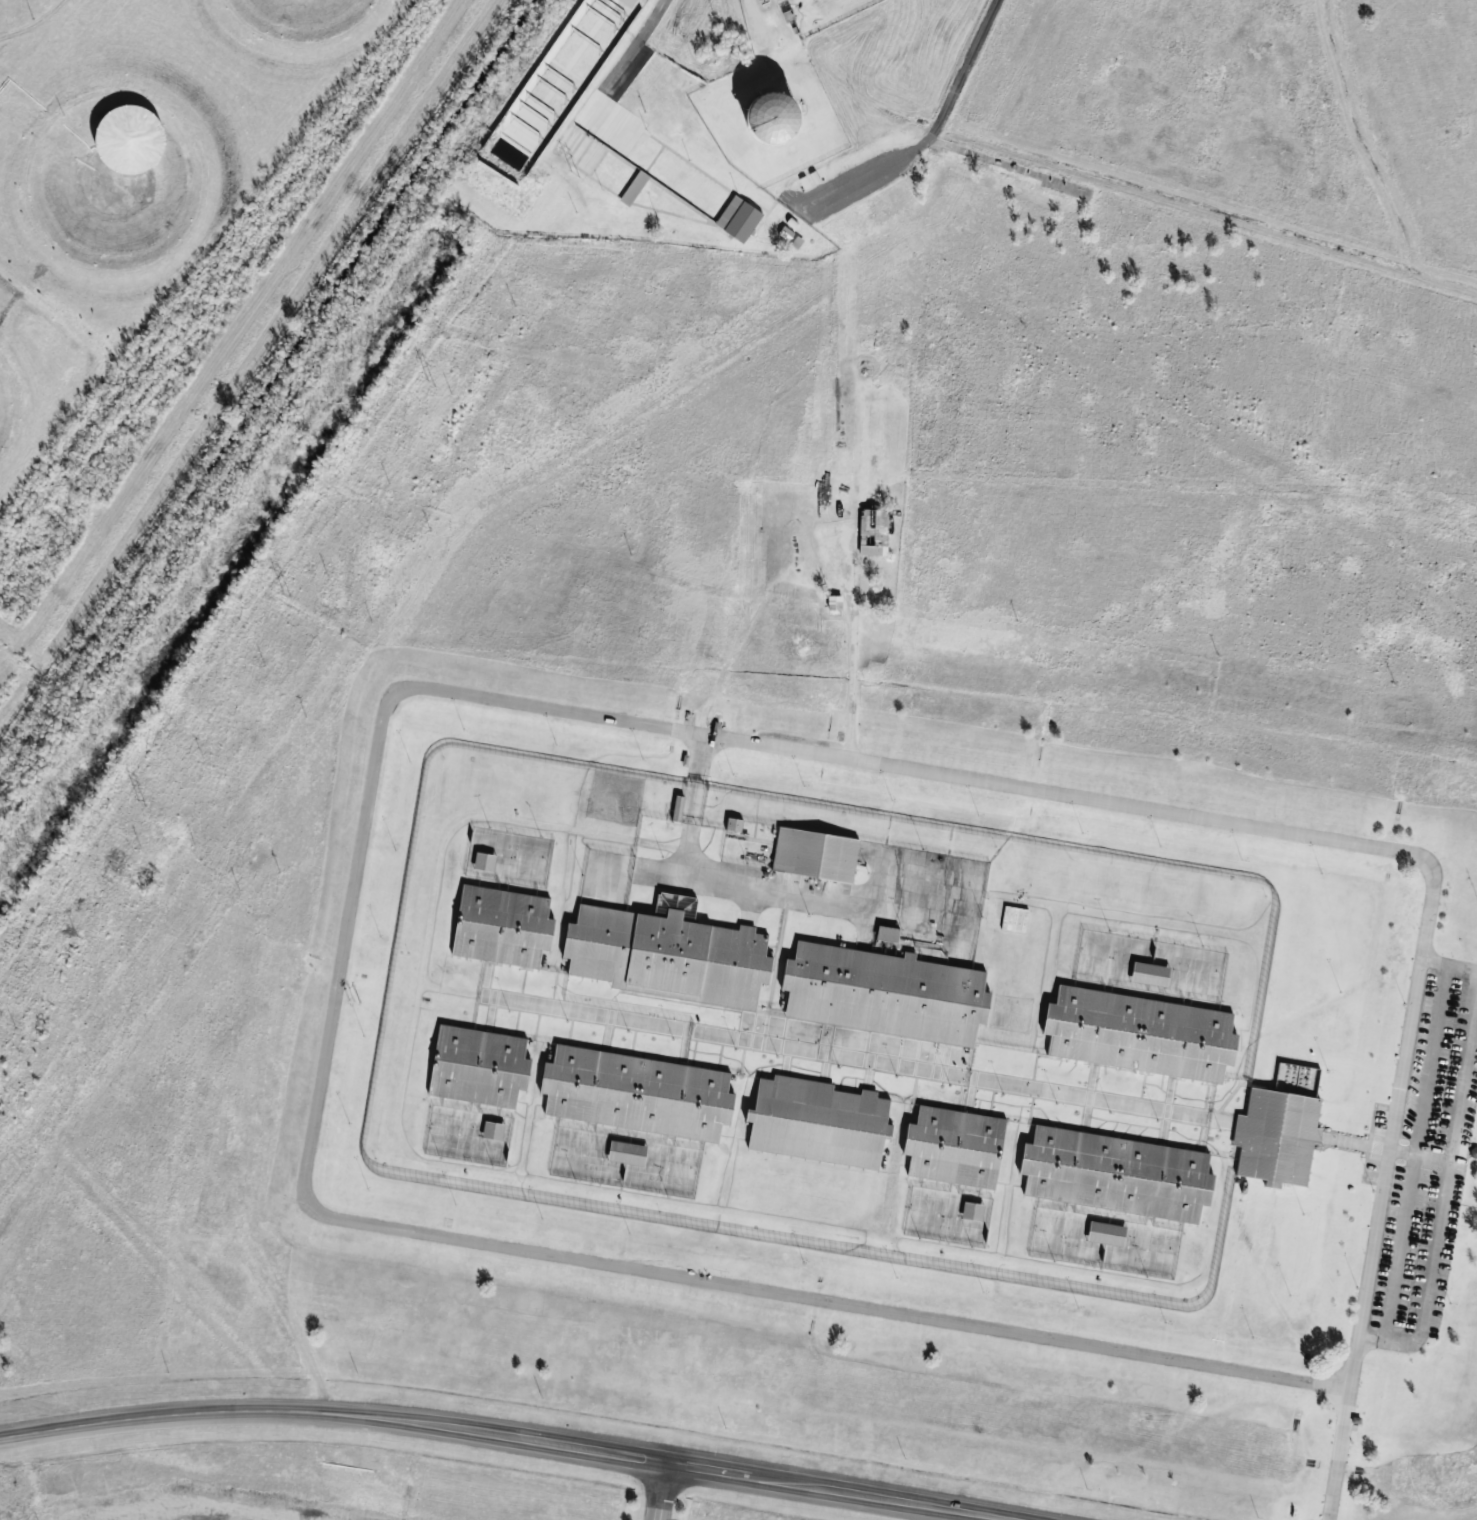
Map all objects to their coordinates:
road: (34, 24)
road: (757, 30)
road: (635, 45)
building: (771, 119)
road: (932, 134)
building: (130, 139)
building: (161, 175)
storage tank: (161, 175)
power tower: (574, 175)
building: (634, 188)
building: (738, 219)
power tower: (430, 383)
building: (874, 532)
power tower: (286, 593)
power tower: (141, 803)
building: (678, 808)
building: (734, 824)
building: (815, 855)
building: (484, 863)
building: (1014, 919)
building: (502, 927)
building: (887, 934)
building: (668, 953)
building: (1149, 974)
building: (884, 993)
building: (1139, 1034)
building: (479, 1067)
building: (637, 1093)
building: (818, 1122)
building: (493, 1131)
building: (1279, 1131)
building: (954, 1147)
building: (627, 1153)
parking lot: (1421, 1162)
building: (1116, 1174)
building: (972, 1211)
building: (1106, 1233)
road: (1362, 1315)
road: (496, 1438)
road: (660, 1493)

